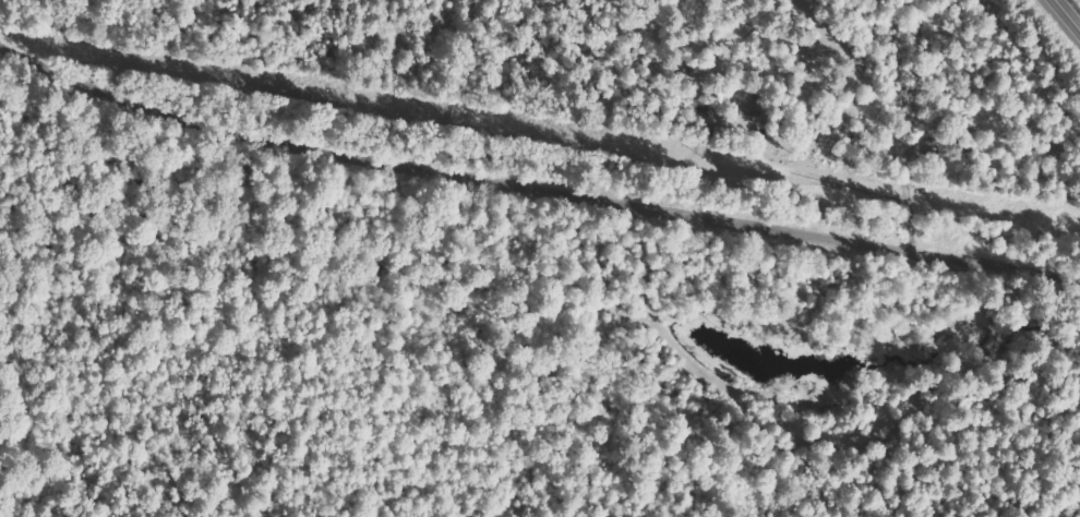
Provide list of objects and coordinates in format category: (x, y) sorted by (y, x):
road: (1071, 10)
road: (532, 187)

